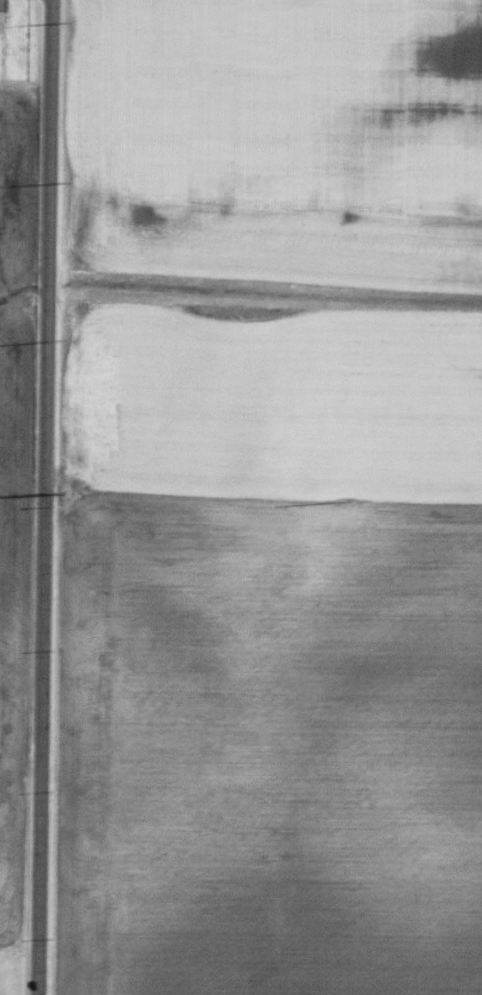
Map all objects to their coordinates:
building: (4, 22)
road: (46, 497)

